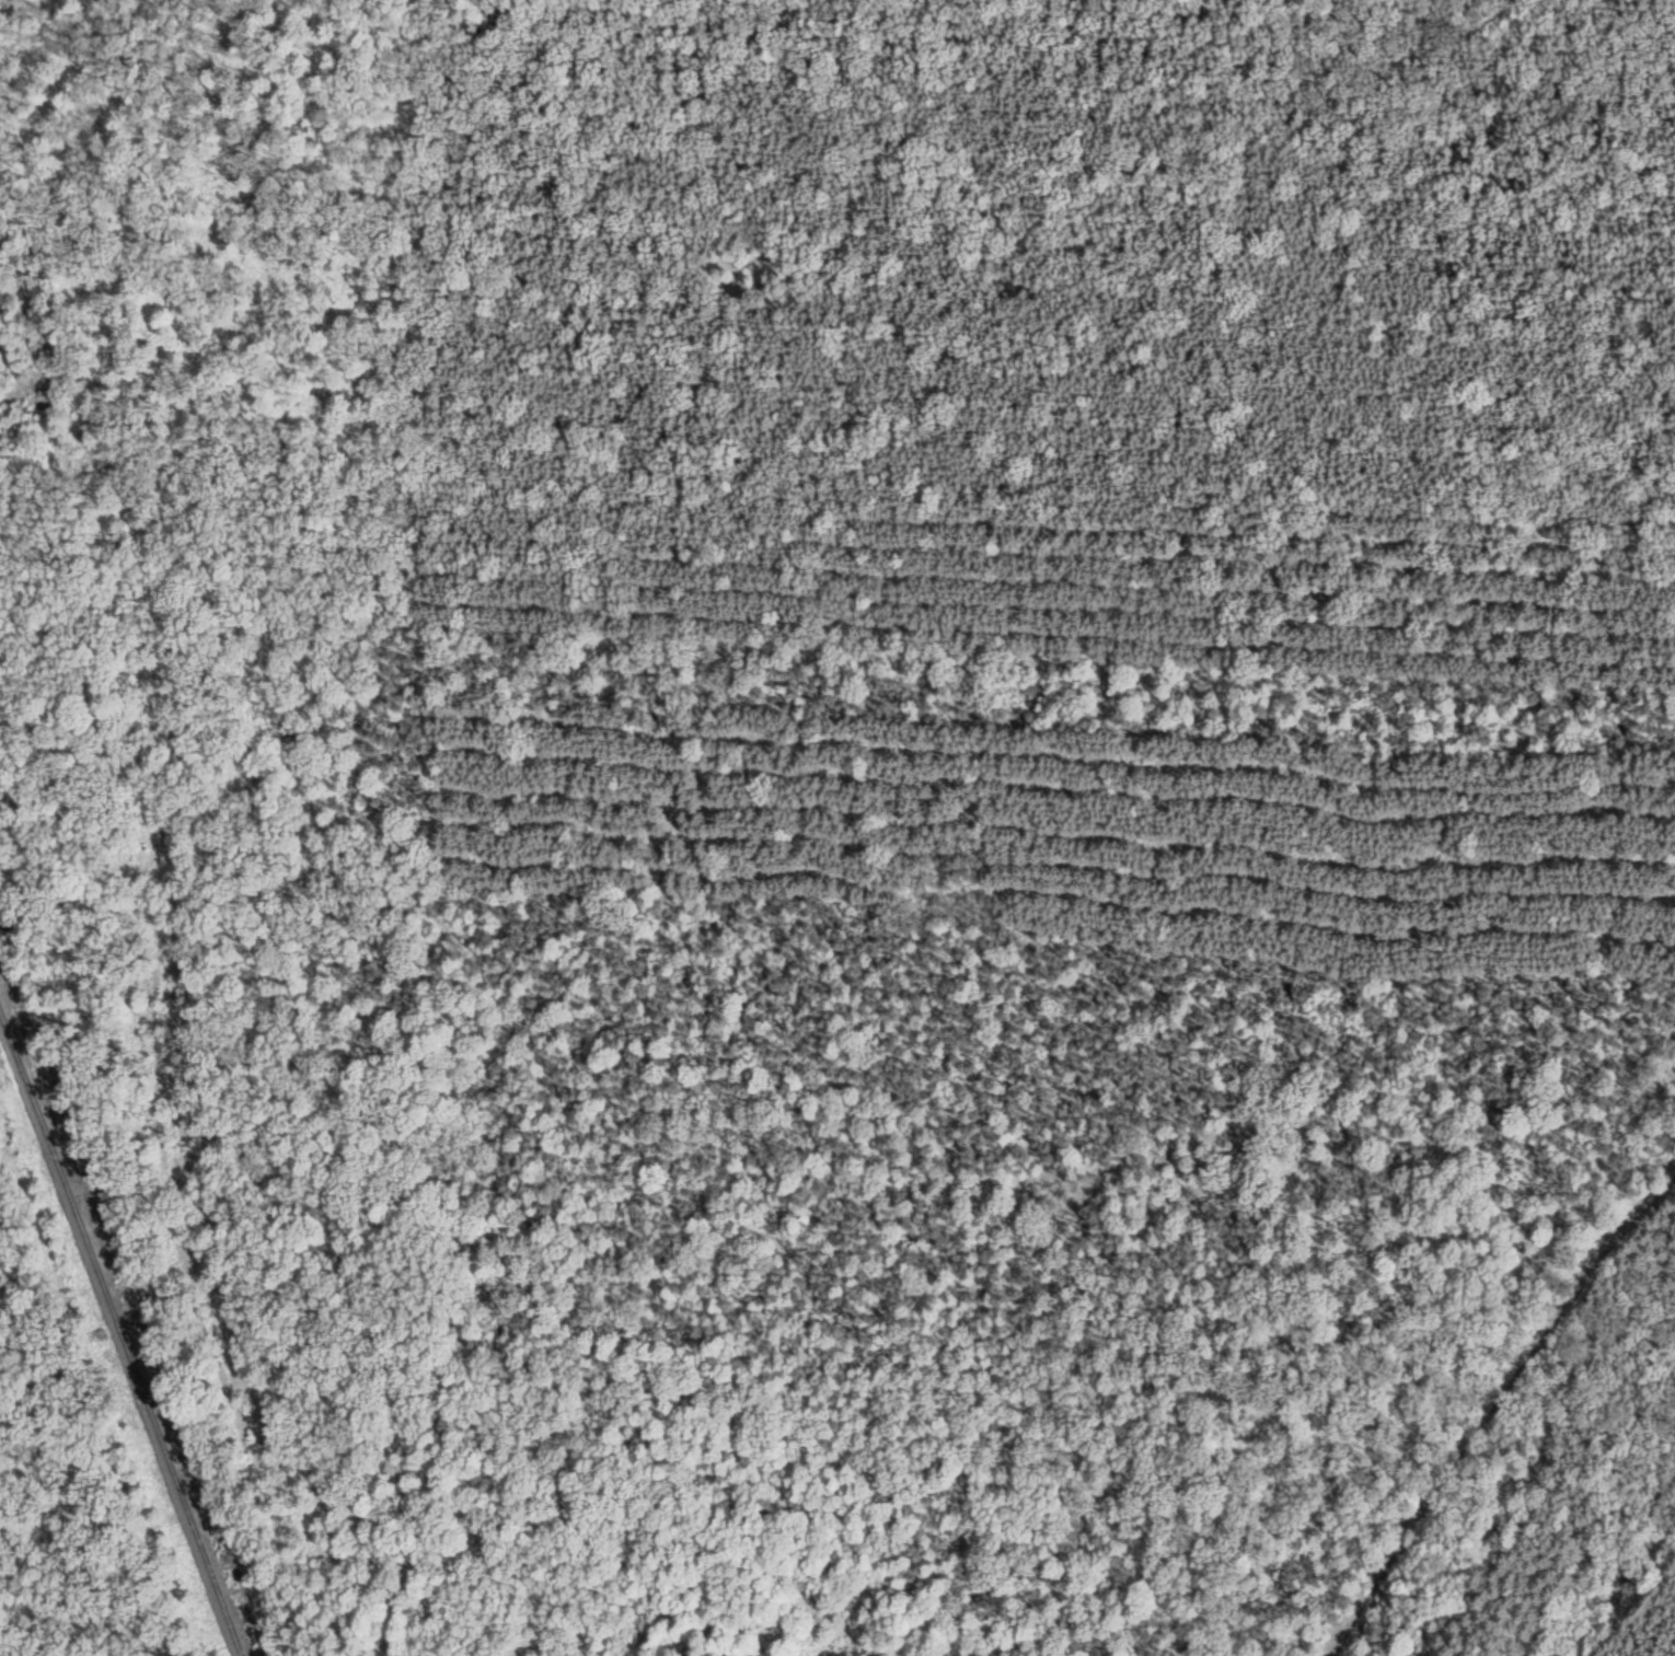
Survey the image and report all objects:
road: (152, 1112)
railway: (119, 1335)
road: (1493, 1409)

